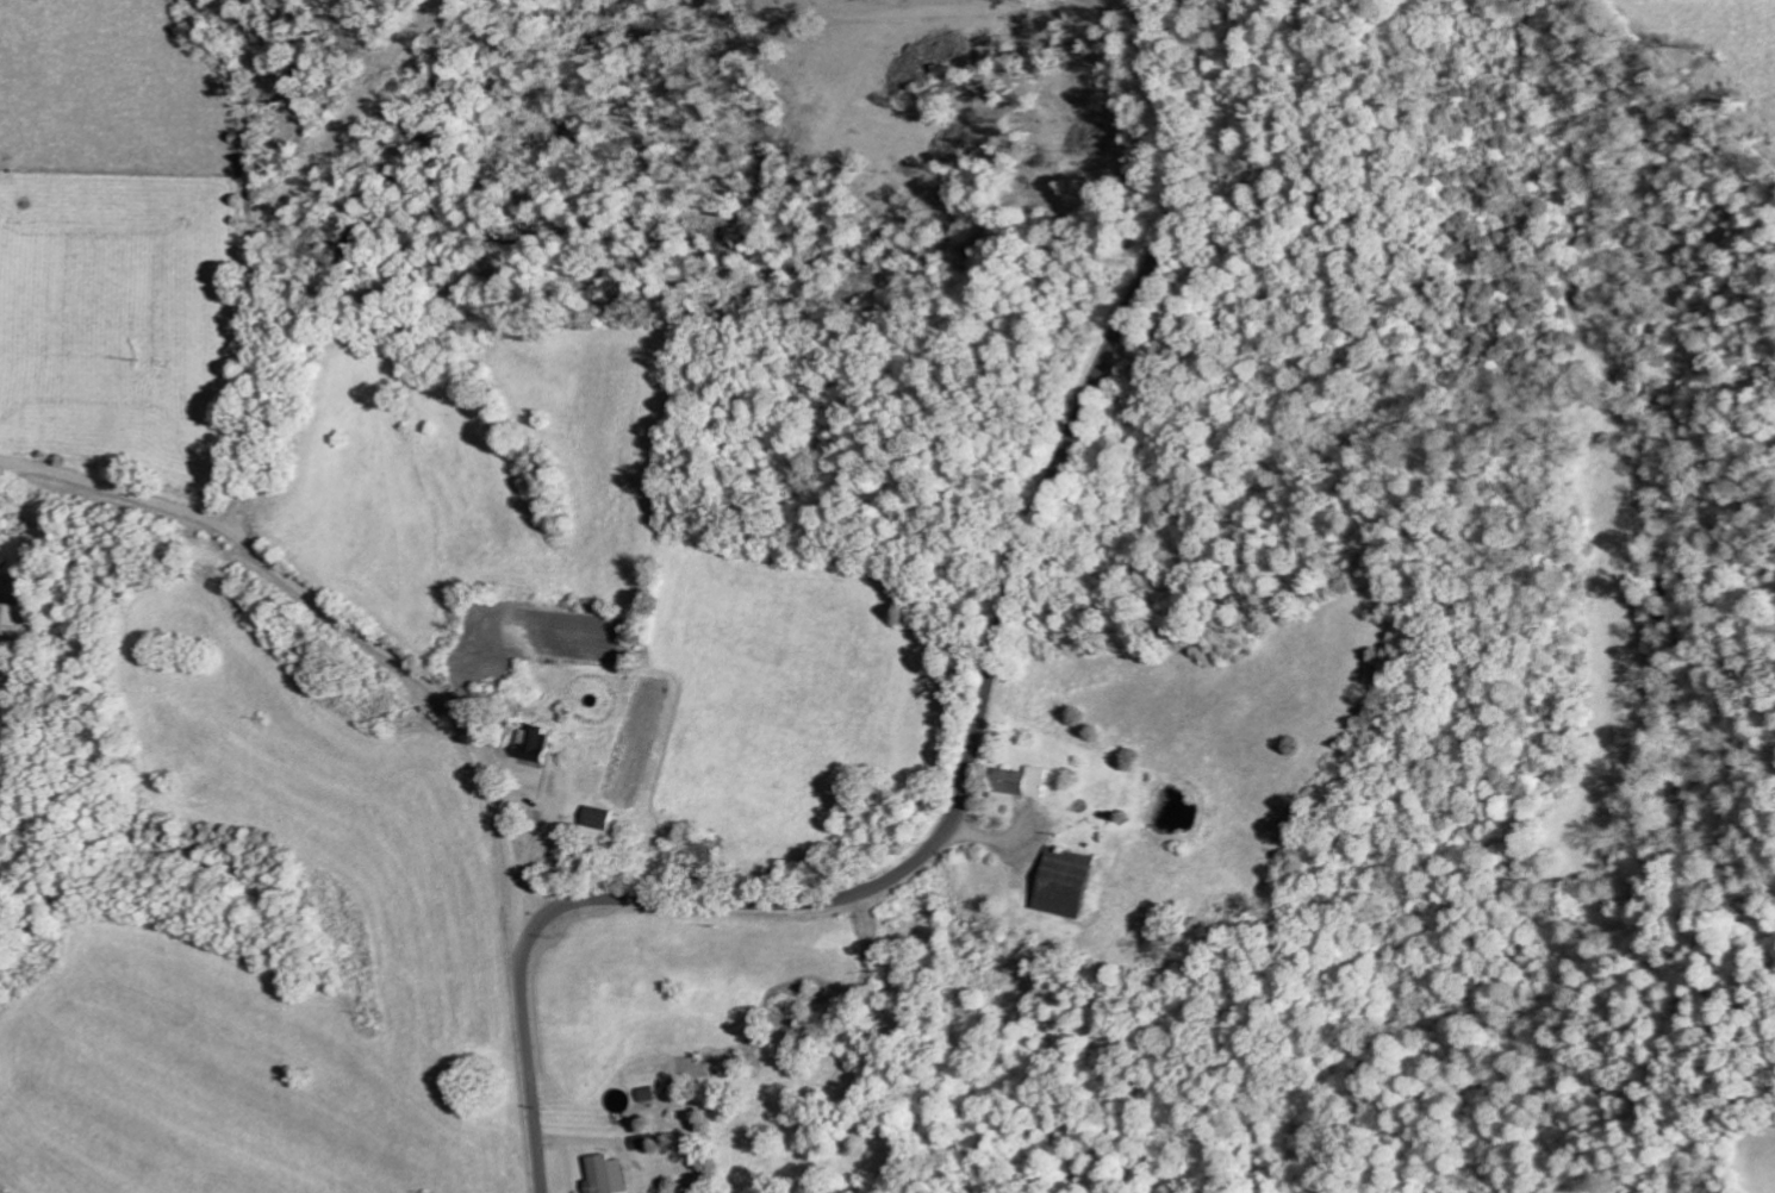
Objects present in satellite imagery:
road: (117, 483)
road: (222, 529)
building: (540, 744)
road: (971, 751)
building: (1026, 783)
building: (604, 819)
building: (1072, 883)
building: (648, 1095)
building: (643, 1143)
building: (611, 1175)

